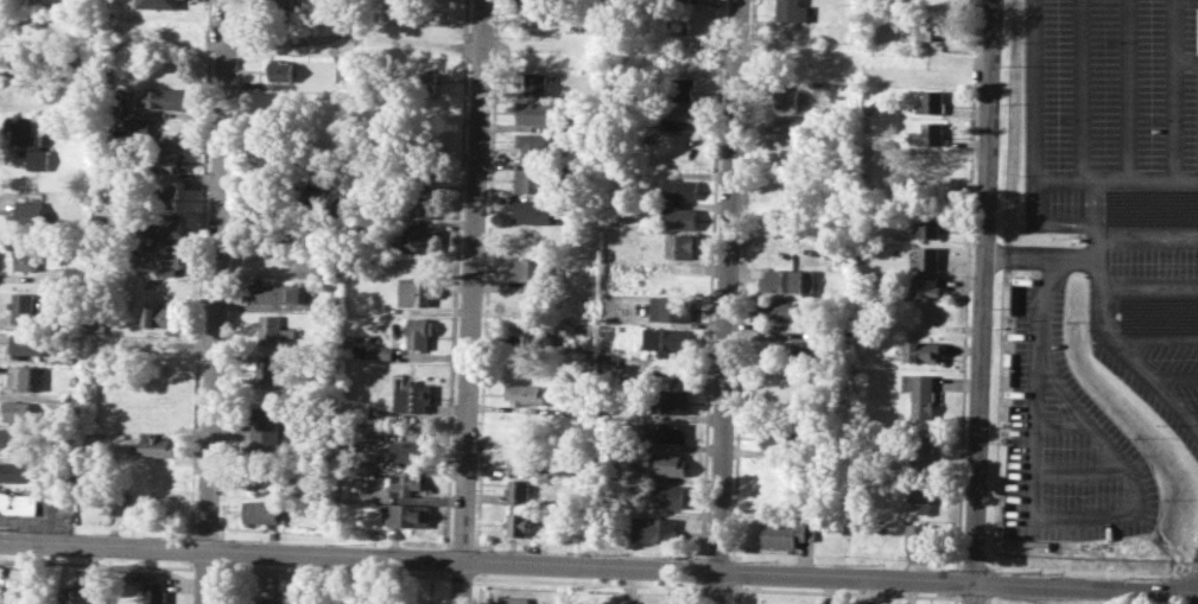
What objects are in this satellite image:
building: (159, 2)
building: (281, 2)
building: (792, 11)
building: (535, 12)
building: (678, 23)
building: (936, 27)
road: (404, 45)
road: (1186, 62)
road: (850, 63)
building: (280, 69)
building: (420, 81)
building: (535, 84)
building: (674, 89)
road: (1078, 90)
road: (1124, 90)
road: (1173, 90)
building: (784, 96)
building: (171, 97)
building: (932, 102)
building: (114, 103)
road: (1029, 110)
building: (538, 113)
building: (677, 116)
building: (788, 122)
building: (135, 125)
building: (931, 133)
building: (30, 139)
building: (539, 144)
building: (164, 160)
building: (535, 179)
parking lot: (1122, 179)
road: (1114, 180)
building: (678, 189)
building: (160, 196)
building: (297, 198)
building: (423, 204)
building: (1152, 205)
building: (534, 210)
building: (30, 214)
building: (680, 218)
road: (1064, 223)
building: (163, 224)
building: (928, 225)
building: (424, 237)
road: (1148, 237)
building: (677, 244)
road: (270, 247)
building: (28, 256)
building: (164, 256)
building: (839, 256)
road: (1041, 258)
building: (925, 259)
building: (330, 263)
building: (530, 268)
road: (1099, 275)
building: (786, 280)
building: (924, 286)
road: (1149, 287)
building: (417, 291)
road: (982, 291)
building: (277, 292)
road: (217, 301)
road: (473, 301)
road: (725, 301)
building: (25, 307)
building: (672, 309)
building: (781, 309)
building: (1160, 314)
building: (164, 316)
building: (274, 330)
building: (420, 331)
building: (531, 335)
road: (1158, 338)
building: (670, 341)
building: (28, 344)
building: (923, 351)
building: (382, 352)
building: (807, 352)
building: (271, 370)
road: (1149, 373)
building: (23, 376)
road: (1175, 376)
road: (1032, 384)
building: (526, 394)
building: (921, 395)
building: (412, 396)
building: (667, 400)
building: (19, 409)
road: (1194, 418)
road: (1096, 425)
road: (1065, 427)
building: (267, 428)
building: (666, 432)
building: (14, 437)
building: (781, 437)
parking lot: (1067, 440)
building: (158, 445)
building: (412, 452)
building: (920, 452)
building: (527, 458)
building: (664, 463)
road: (1084, 466)
building: (15, 470)
building: (265, 477)
building: (408, 483)
building: (520, 491)
building: (668, 495)
building: (919, 497)
building: (116, 501)
building: (18, 503)
building: (265, 510)
building: (408, 516)
road: (1084, 516)
building: (520, 523)
building: (829, 523)
building: (654, 528)
building: (787, 533)
building: (918, 535)
road: (487, 561)
building: (1, 570)
building: (18, 572)
road: (94, 576)
building: (19, 585)
road: (629, 586)
road: (1085, 587)
building: (156, 592)
building: (76, 593)
road: (972, 593)
building: (17, 599)
building: (275, 599)
building: (514, 599)
building: (608, 603)

